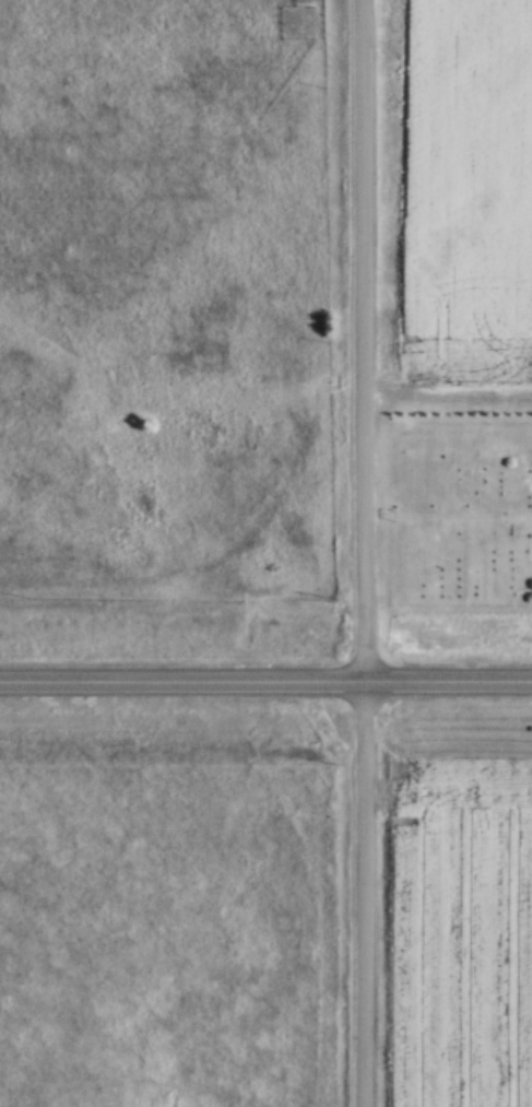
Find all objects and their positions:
park: (464, 508)
road: (365, 553)
road: (265, 686)

